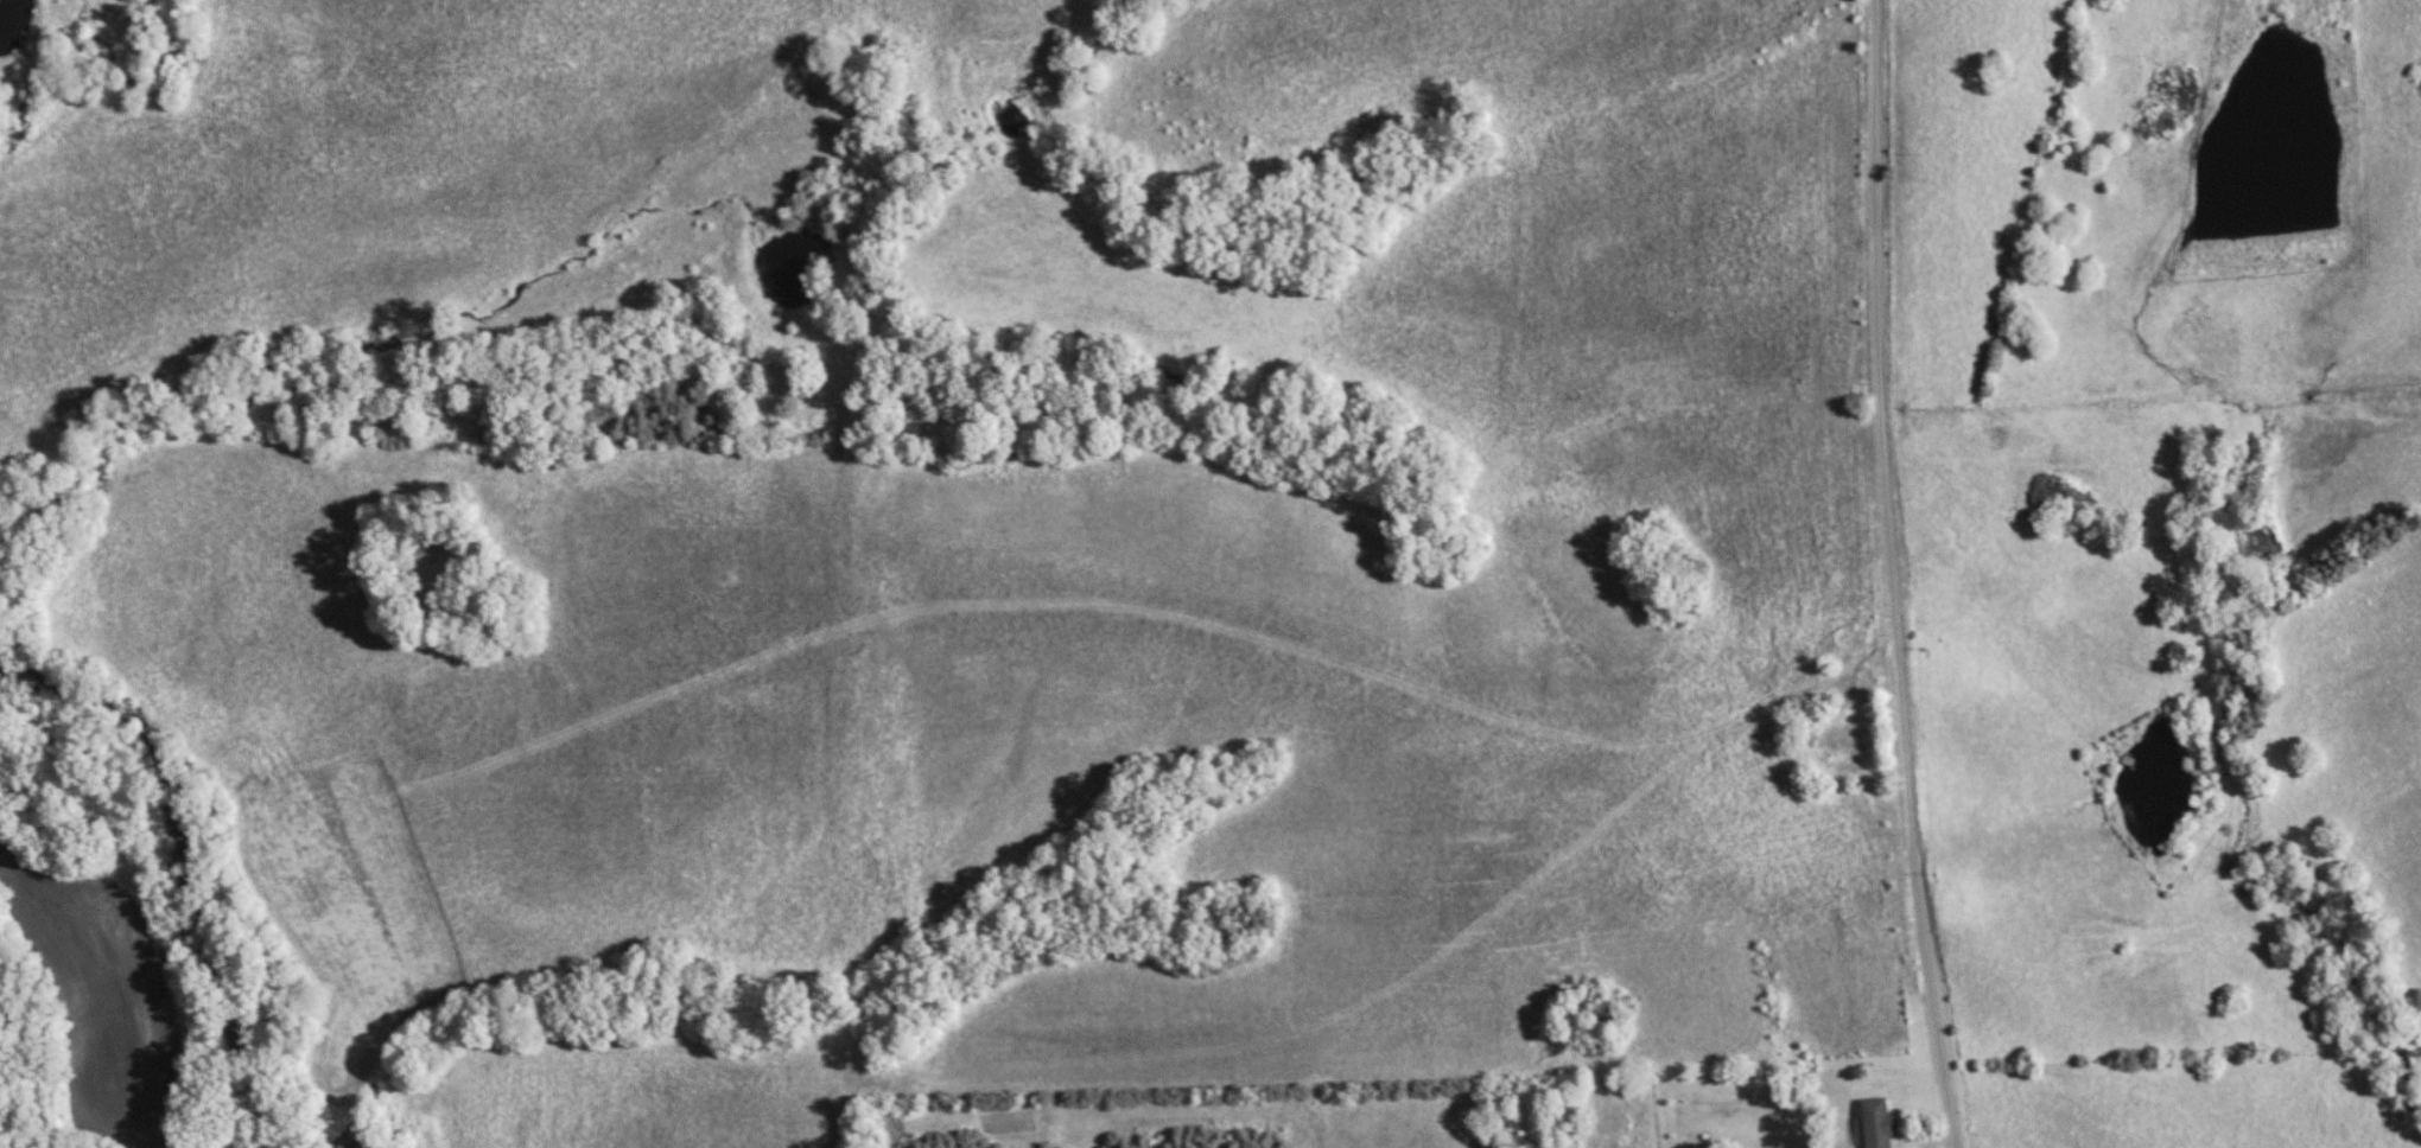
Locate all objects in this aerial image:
road: (1894, 575)
building: (1879, 1124)

